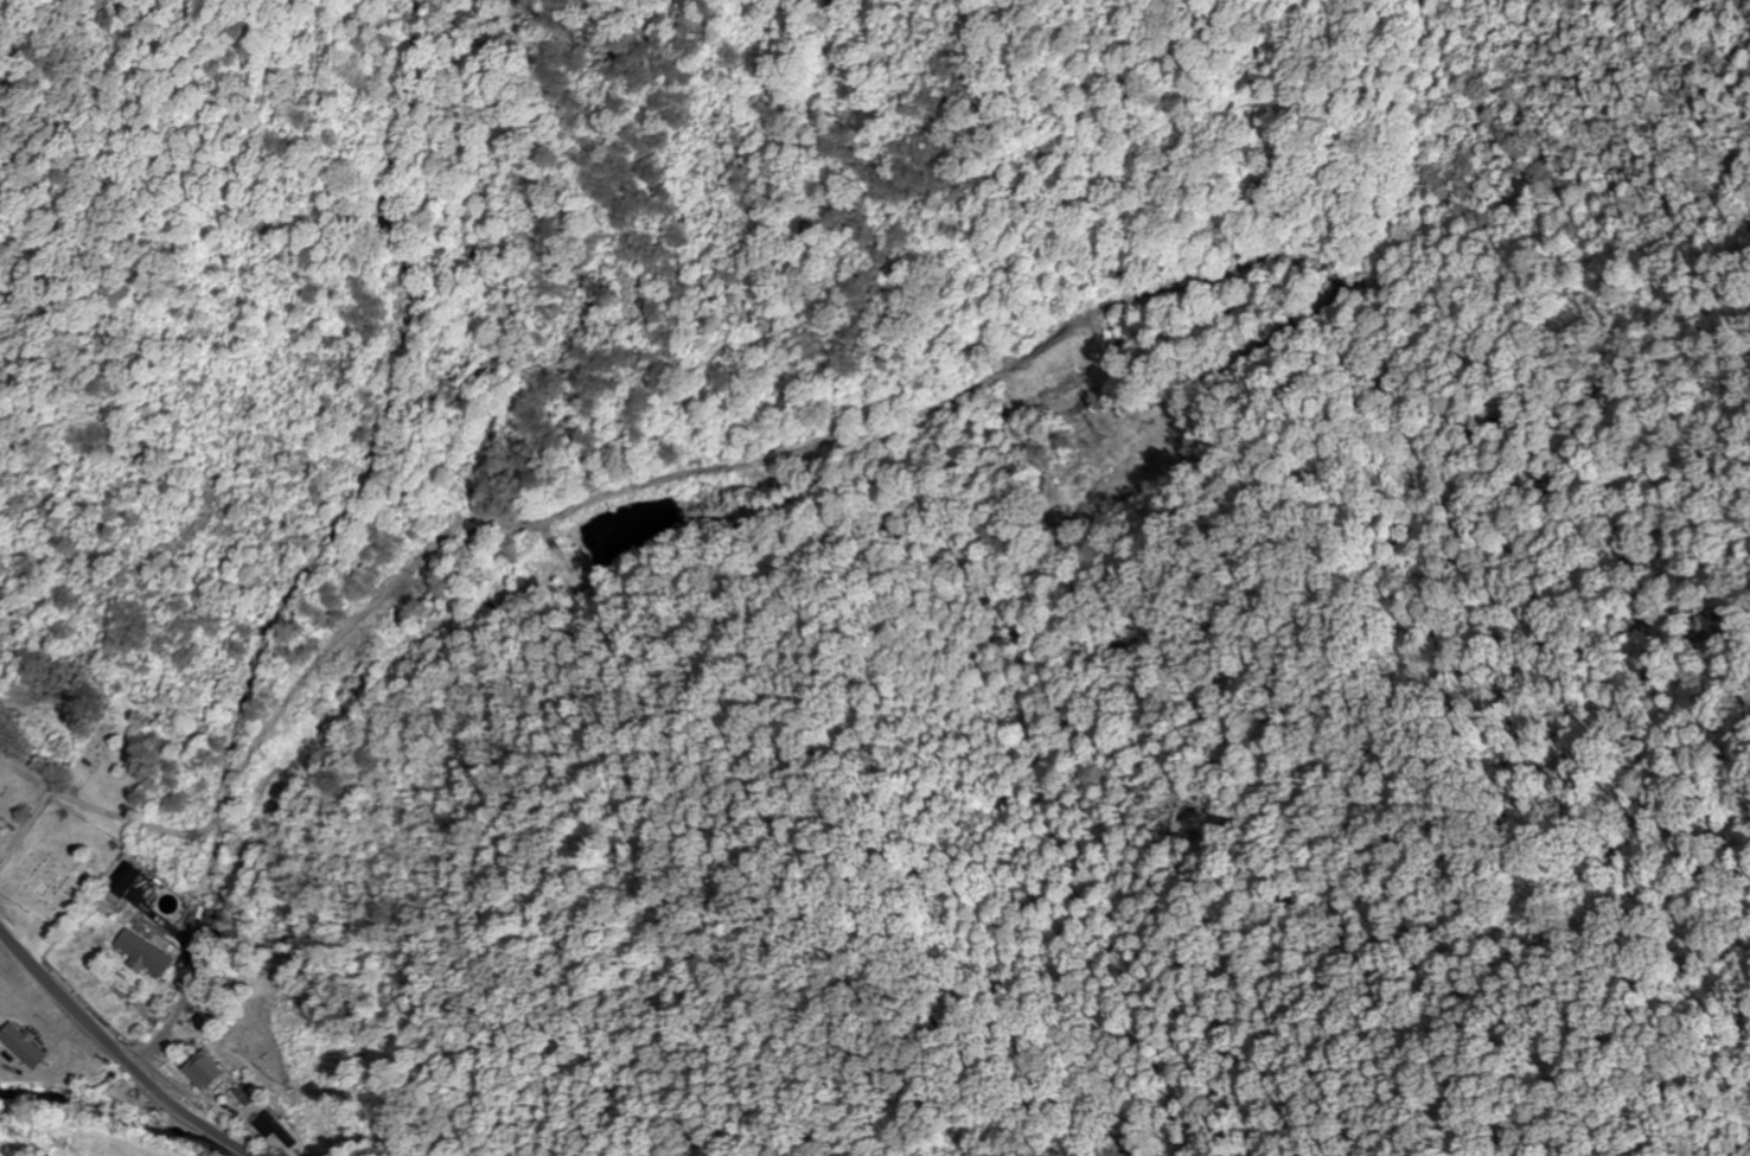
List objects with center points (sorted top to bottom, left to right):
park: (117, 746)
park: (13, 798)
park: (59, 863)
building: (124, 877)
building: (148, 952)
building: (24, 1043)
road: (119, 1049)
building: (204, 1071)
building: (274, 1122)

